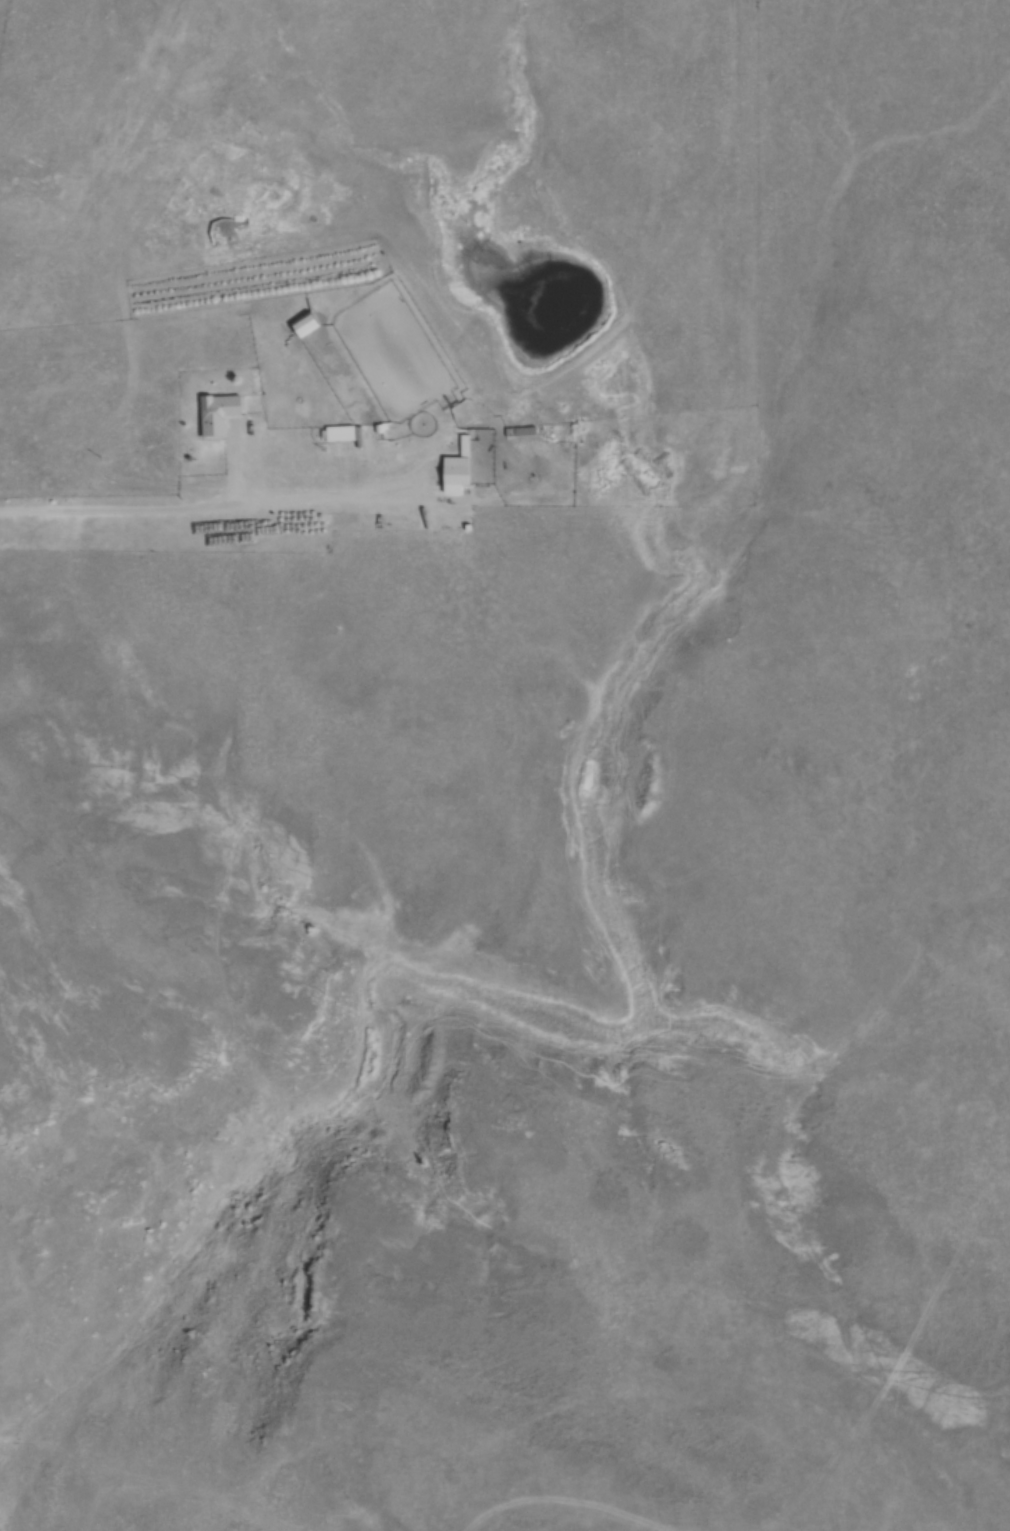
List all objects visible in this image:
building: (224, 410)
building: (341, 437)
building: (459, 468)

